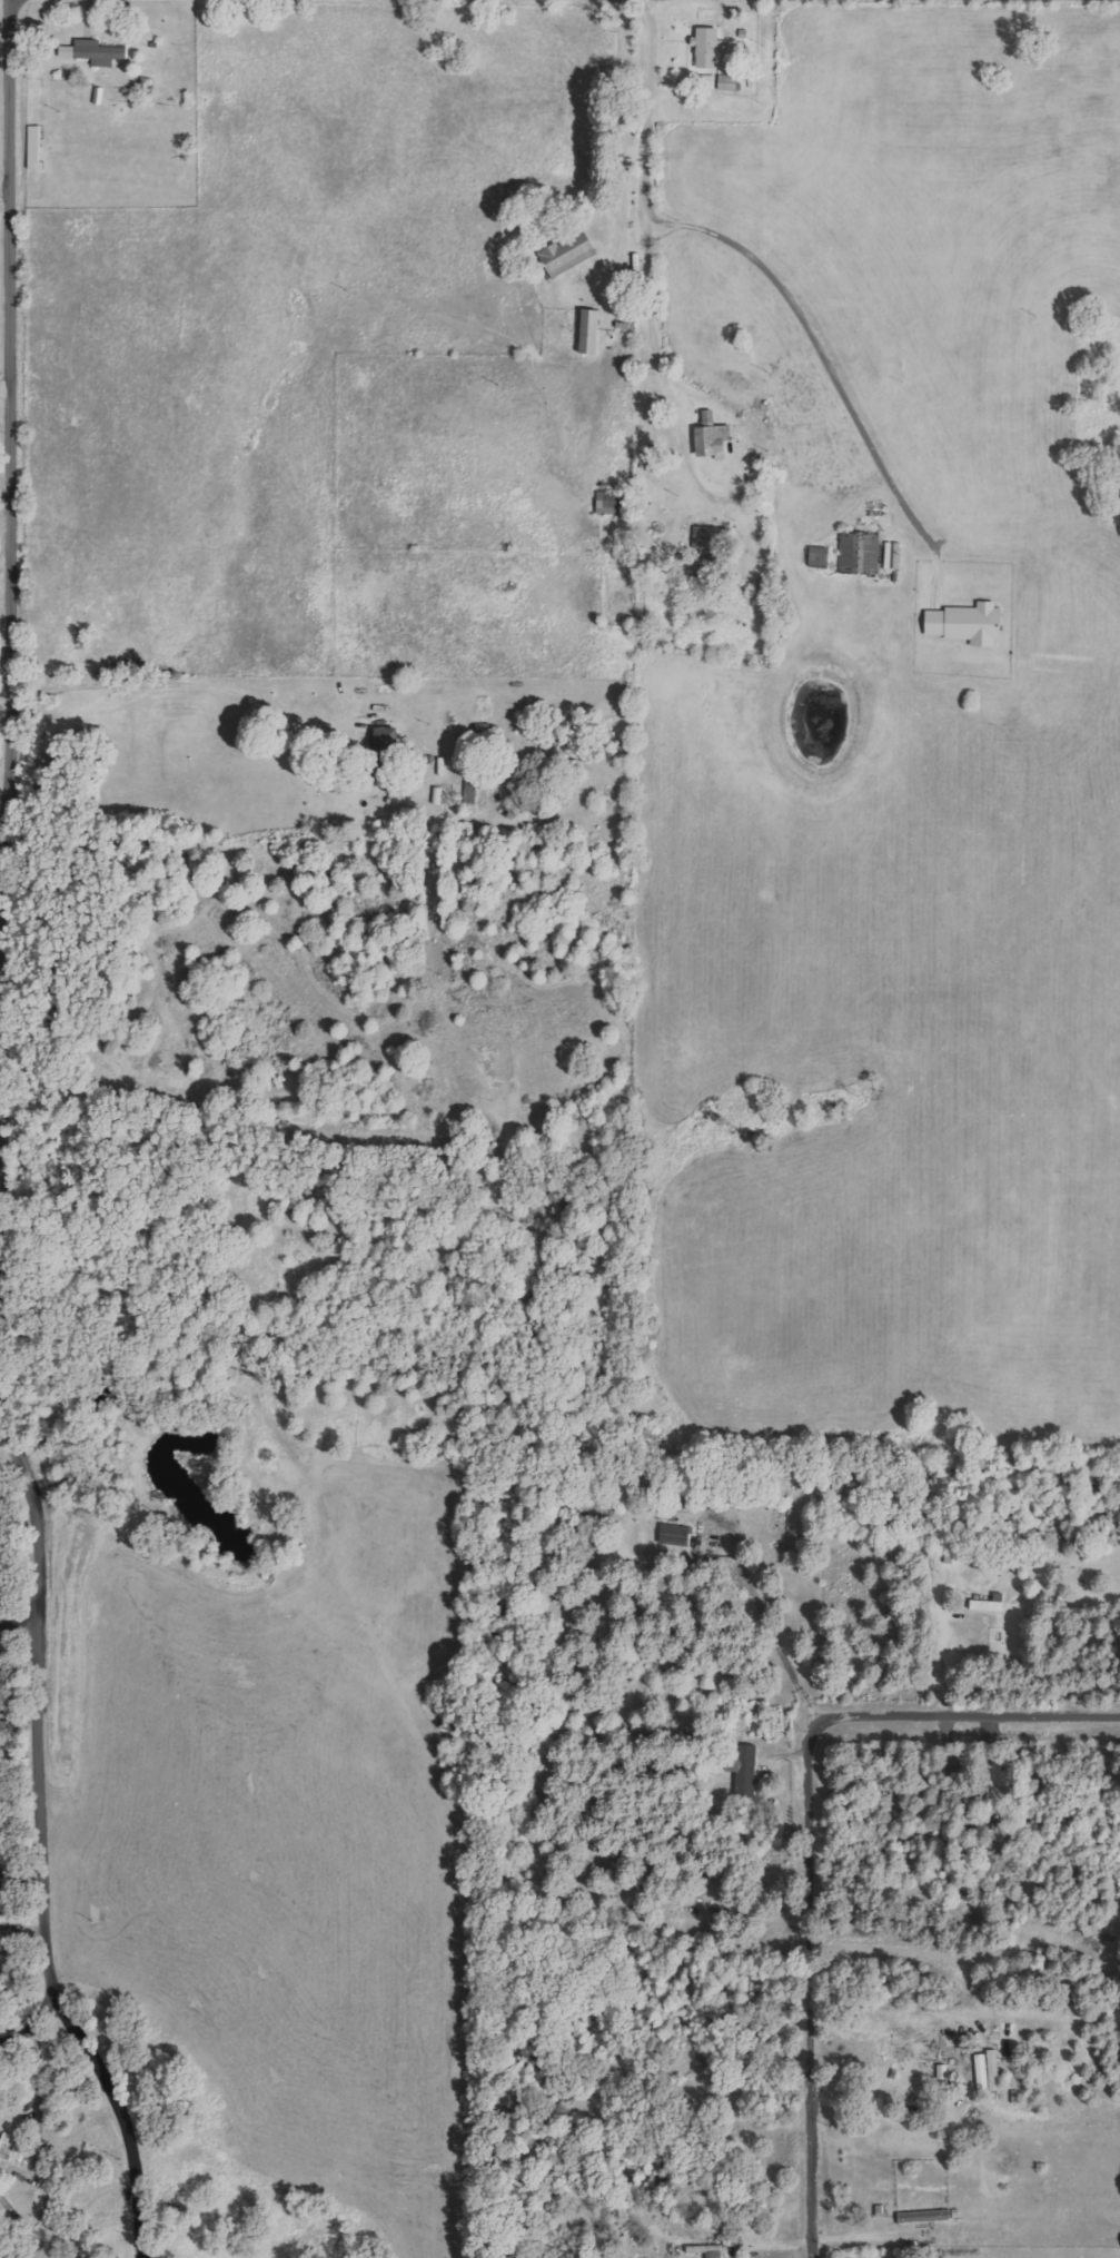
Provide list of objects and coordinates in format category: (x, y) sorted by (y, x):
building: (711, 48)
building: (96, 52)
building: (722, 82)
building: (37, 147)
building: (572, 252)
building: (594, 330)
building: (714, 435)
building: (613, 502)
building: (861, 551)
building: (822, 556)
road: (9, 585)
building: (960, 624)
building: (676, 1535)
building: (992, 1603)
road: (17, 1623)
road: (964, 1715)
building: (745, 1770)
road: (38, 1852)
building: (6, 1940)
road: (805, 1990)
building: (972, 2019)
road: (31, 2024)
building: (945, 2074)
building: (910, 2077)
building: (933, 2216)
building: (708, 2250)

